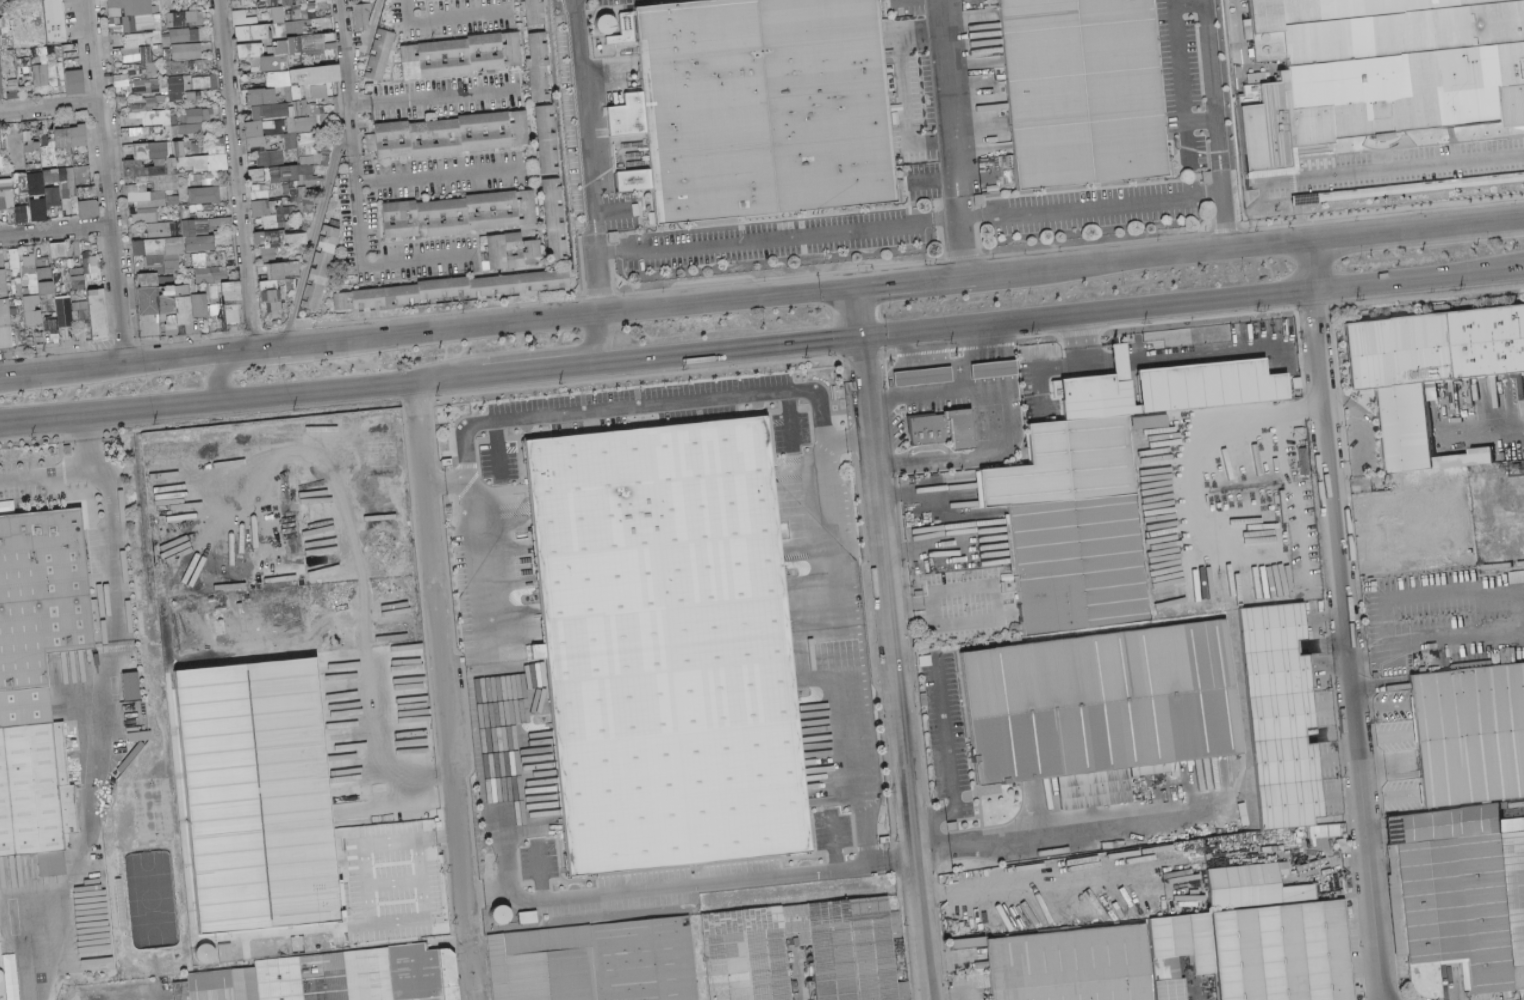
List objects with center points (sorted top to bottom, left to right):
road: (344, 68)
parking lot: (1181, 85)
parking lot: (1397, 164)
road: (235, 175)
road: (104, 181)
gas station: (993, 366)
gas station: (922, 373)
gas station: (954, 404)
parking lot: (631, 417)
parking lot: (969, 608)
parking lot: (942, 722)
parking lot: (830, 832)
parking lot: (542, 864)

